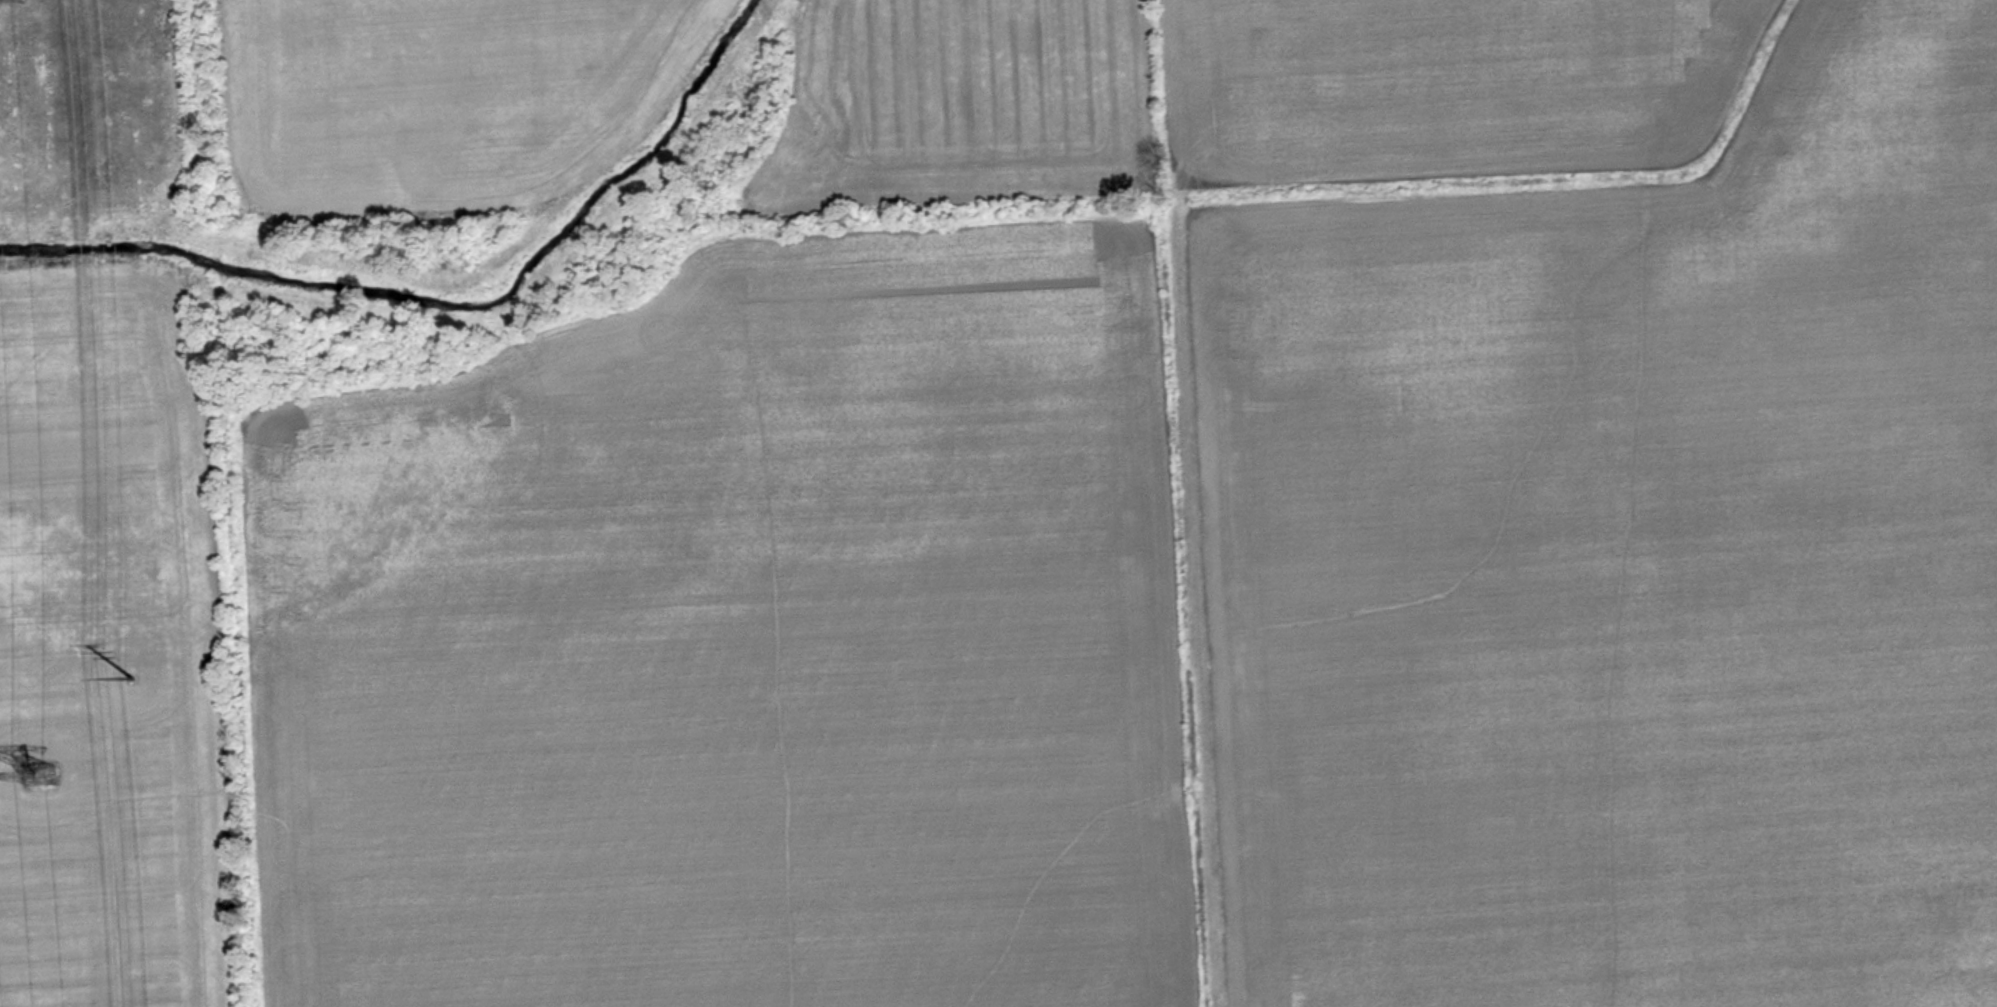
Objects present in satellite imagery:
power tower: (1, 0)
power tower: (140, 685)
power tower: (34, 784)

